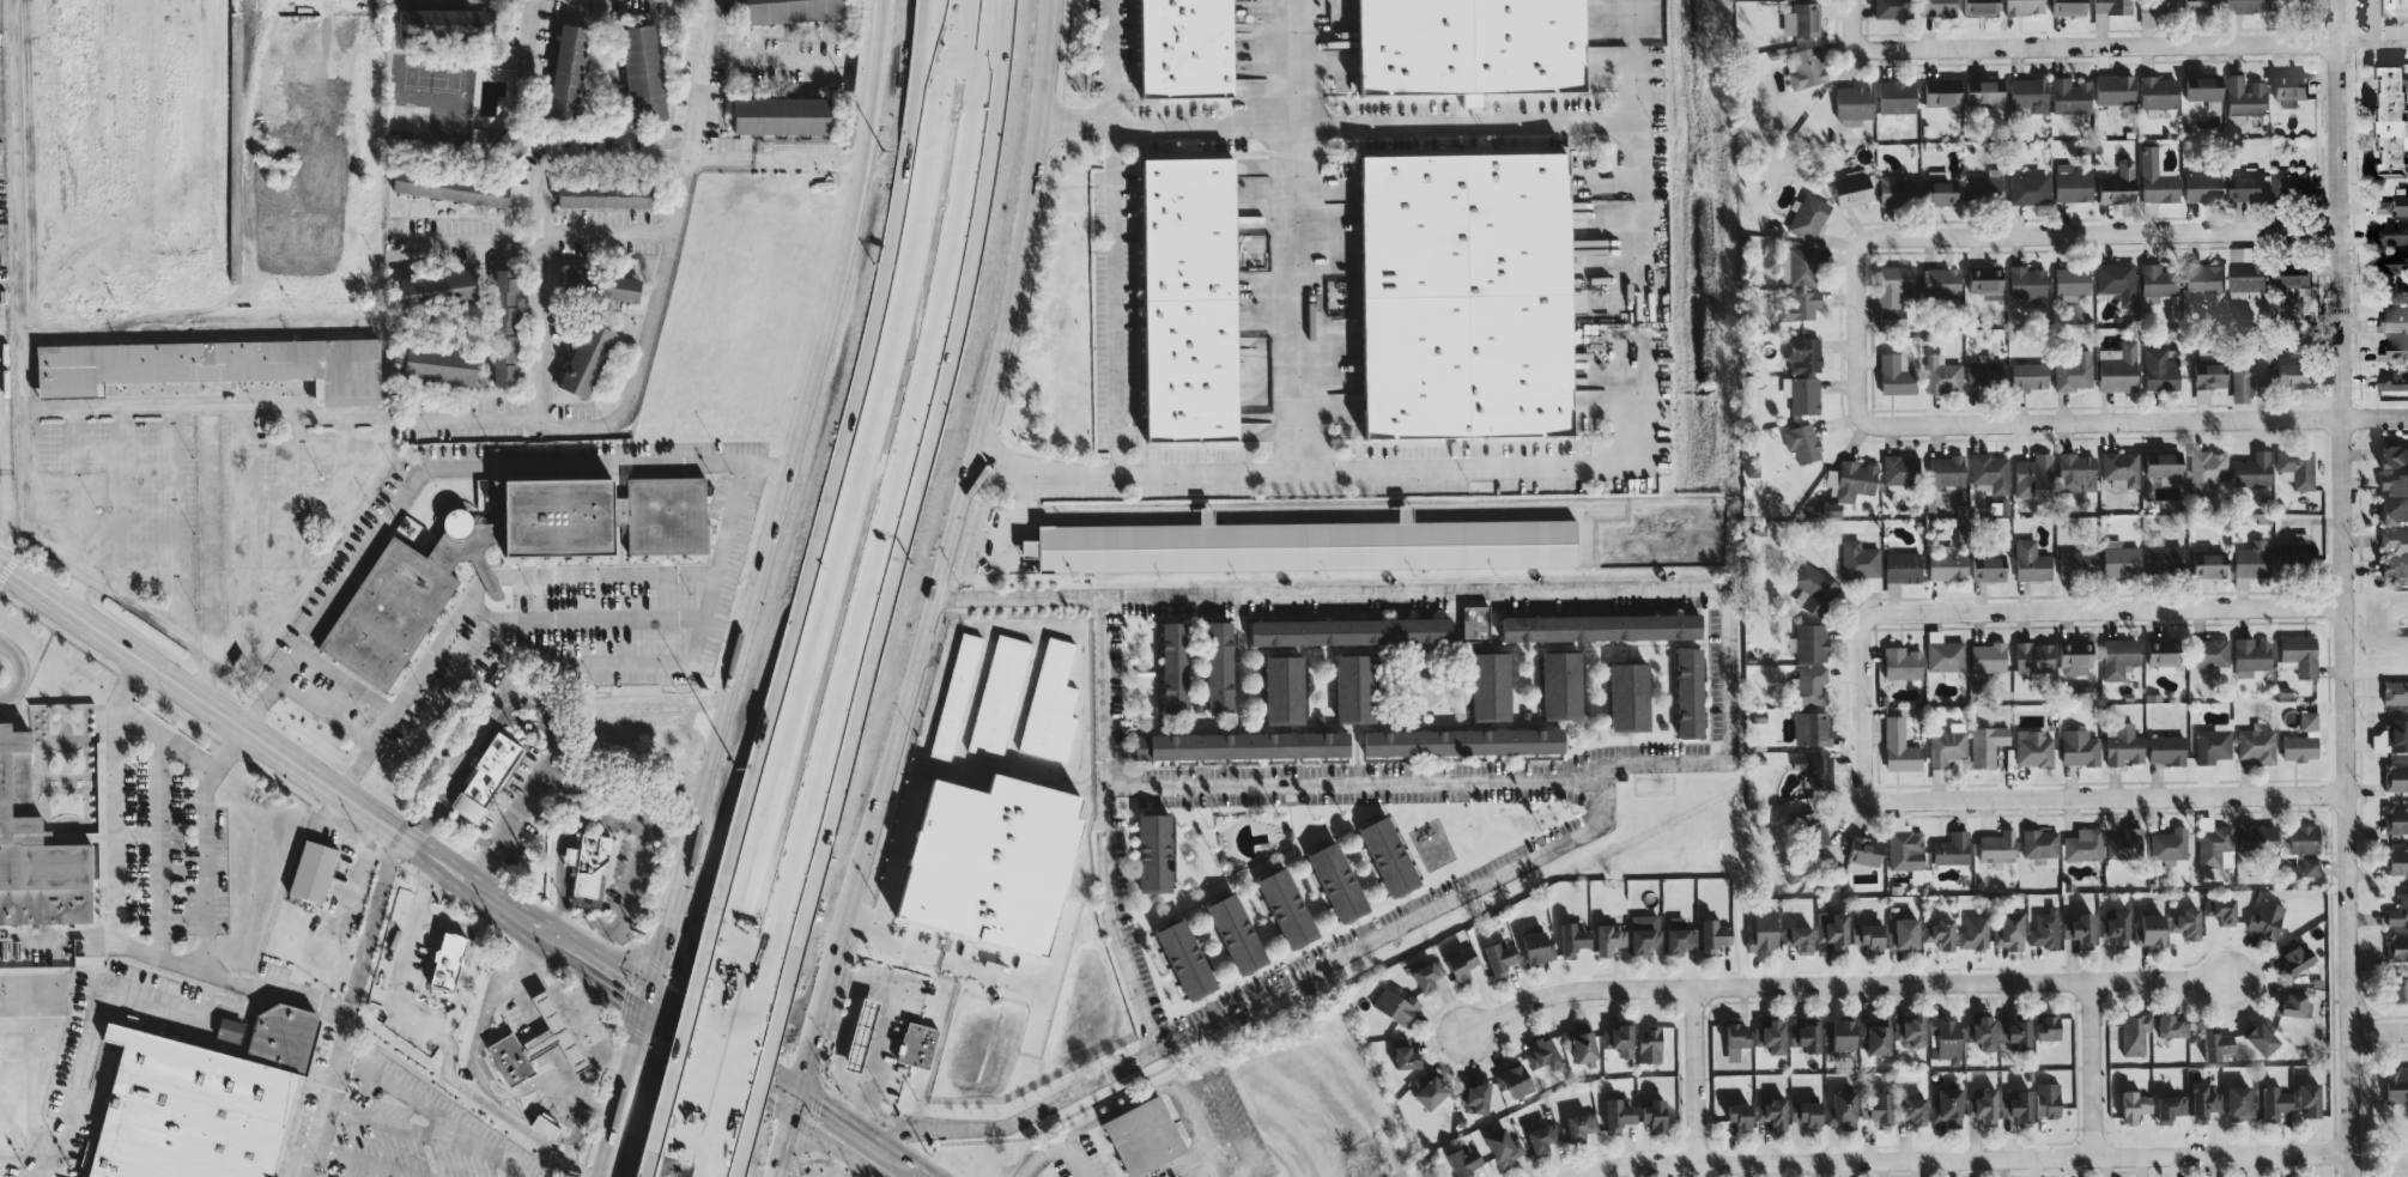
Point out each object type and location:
building: (2200, 4)
building: (2025, 6)
building: (2072, 6)
building: (1939, 7)
building: (1982, 7)
building: (1893, 8)
building: (795, 10)
building: (2110, 10)
building: (2157, 11)
building: (1802, 19)
building: (2403, 19)
building: (447, 22)
road: (2367, 24)
road: (534, 28)
building: (1184, 47)
building: (1469, 47)
road: (2371, 47)
road: (2070, 49)
road: (776, 59)
road: (1111, 60)
building: (1806, 67)
building: (568, 69)
building: (643, 72)
building: (2292, 87)
building: (2206, 89)
building: (1943, 91)
building: (1985, 91)
building: (2115, 91)
building: (2159, 91)
building: (2031, 93)
building: (2072, 95)
building: (1898, 96)
building: (2244, 97)
building: (1854, 104)
building: (783, 115)
building: (2395, 119)
road: (1224, 122)
road: (1462, 122)
road: (1636, 139)
building: (514, 140)
road: (578, 158)
building: (2157, 178)
building: (2291, 182)
building: (2072, 183)
building: (2119, 183)
building: (451, 186)
building: (2203, 186)
building: (1854, 187)
building: (1985, 187)
building: (2030, 187)
building: (2249, 187)
road: (187, 188)
building: (1941, 188)
building: (1898, 190)
building: (605, 193)
road: (951, 201)
building: (2394, 205)
building: (1808, 216)
road: (2054, 232)
building: (2392, 233)
road: (530, 235)
building: (1800, 265)
road: (16, 267)
building: (2246, 272)
building: (2295, 274)
building: (2206, 278)
building: (2398, 278)
building: (2160, 279)
building: (1988, 280)
building: (2073, 280)
building: (2117, 280)
building: (1942, 281)
building: (2028, 281)
building: (601, 284)
building: (1896, 284)
building: (438, 287)
building: (1467, 296)
building: (1188, 303)
building: (1801, 305)
road: (650, 314)
building: (1893, 316)
building: (2394, 320)
building: (505, 326)
building: (2392, 348)
building: (1803, 353)
building: (587, 358)
building: (441, 364)
building: (214, 365)
building: (2121, 368)
building: (2160, 369)
road: (1117, 370)
building: (1985, 371)
building: (2074, 371)
building: (1897, 374)
building: (1942, 374)
building: (2031, 375)
building: (2299, 375)
building: (2250, 376)
building: (2209, 377)
building: (2392, 380)
building: (1803, 394)
road: (206, 399)
road: (2086, 424)
road: (382, 441)
building: (1803, 442)
road: (4, 447)
road: (791, 454)
building: (2395, 455)
road: (705, 462)
building: (2165, 465)
building: (2122, 468)
road: (1290, 469)
building: (1899, 469)
building: (1947, 469)
building: (2255, 469)
building: (1990, 471)
building: (2208, 471)
road: (1205, 472)
building: (2034, 477)
building: (1852, 479)
building: (2396, 483)
road: (850, 498)
road: (5, 509)
building: (2395, 512)
road: (172, 514)
road: (958, 516)
road: (392, 521)
building: (667, 521)
road: (247, 533)
building: (2395, 540)
building: (1308, 545)
building: (2166, 558)
building: (1860, 559)
building: (2122, 559)
building: (2032, 560)
building: (2079, 562)
building: (2251, 563)
building: (1948, 564)
building: (2212, 564)
building: (1990, 568)
building: (1903, 570)
building: (2396, 570)
road: (313, 571)
road: (77, 587)
road: (2341, 588)
building: (1815, 589)
building: (410, 591)
road: (1725, 594)
road: (486, 597)
road: (139, 603)
road: (2058, 611)
building: (1476, 623)
building: (1602, 627)
building: (1352, 631)
road: (732, 633)
building: (1810, 642)
building: (2212, 651)
building: (2165, 653)
building: (1945, 654)
building: (2300, 655)
building: (2036, 656)
building: (2076, 656)
building: (2119, 656)
building: (2252, 656)
building: (1989, 657)
building: (1903, 662)
road: (19, 666)
building: (1221, 666)
building: (1176, 667)
road: (683, 671)
road: (205, 675)
building: (1813, 684)
building: (1564, 685)
building: (1492, 686)
building: (1357, 687)
building: (1692, 692)
building: (2396, 692)
building: (956, 694)
building: (999, 696)
building: (1631, 697)
building: (1051, 703)
road: (838, 709)
road: (219, 712)
building: (2310, 721)
building: (1813, 728)
building: (2397, 734)
road: (479, 735)
road: (163, 739)
building: (1466, 741)
building: (1989, 742)
building: (1244, 745)
building: (2125, 745)
building: (2258, 745)
building: (1901, 746)
building: (1948, 747)
building: (2034, 747)
building: (2080, 747)
building: (2301, 747)
building: (2169, 750)
building: (1802, 762)
building: (1822, 772)
building: (487, 776)
building: (2396, 778)
road: (526, 797)
road: (2058, 797)
building: (2396, 819)
road: (580, 820)
road: (1111, 825)
building: (1814, 830)
building: (2258, 837)
building: (2306, 838)
building: (2213, 842)
building: (2040, 843)
building: (2085, 844)
building: (2169, 844)
building: (2125, 845)
building: (1998, 847)
building: (1953, 848)
building: (35, 850)
building: (1867, 850)
building: (1907, 851)
building: (1156, 853)
building: (1390, 856)
building: (2400, 860)
building: (994, 862)
building: (588, 864)
building: (2311, 866)
building: (1793, 867)
building: (313, 872)
building: (1340, 881)
road: (424, 885)
road: (626, 888)
building: (1288, 908)
building: (2222, 909)
building: (2400, 911)
road: (484, 918)
road: (547, 918)
building: (2267, 918)
road: (371, 923)
road: (449, 923)
road: (507, 923)
building: (2188, 923)
building: (2045, 928)
building: (2117, 928)
building: (1834, 929)
building: (2082, 929)
building: (2012, 930)
building: (2152, 930)
building: (1645, 932)
building: (1765, 932)
building: (1975, 932)
building: (1941, 933)
building: (1238, 934)
building: (1905, 934)
road: (924, 935)
building: (1680, 935)
building: (1716, 935)
building: (1870, 935)
building: (1575, 939)
building: (1609, 939)
building: (1800, 939)
road: (662, 944)
building: (1537, 946)
building: (2397, 947)
road: (137, 948)
building: (1502, 958)
building: (2297, 958)
building: (1187, 959)
building: (448, 961)
traffic signals: (659, 961)
building: (1463, 964)
building: (1429, 975)
road: (230, 978)
road: (398, 981)
road: (546, 984)
road: (1842, 984)
road: (1276, 989)
road: (132, 991)
building: (2401, 991)
road: (613, 996)
traffic signals: (674, 999)
road: (647, 1000)
traffic signals: (621, 1002)
building: (2297, 1005)
building: (1396, 1006)
road: (859, 1007)
road: (728, 1014)
building: (2172, 1026)
building: (2051, 1027)
building: (230, 1029)
building: (1828, 1029)
road: (2378, 1029)
building: (1911, 1031)
building: (2019, 1032)
building: (556, 1033)
gas station: (556, 1033)
building: (1987, 1033)
building: (2135, 1033)
road: (727, 1035)
building: (1808, 1035)
building: (1845, 1035)
road: (592, 1036)
building: (862, 1036)
gas station: (862, 1036)
building: (1880, 1036)
building: (1773, 1037)
building: (2264, 1037)
building: (1620, 1039)
building: (1947, 1039)
building: (1737, 1041)
building: (1582, 1042)
building: (917, 1044)
building: (1650, 1045)
building: (2219, 1045)
road: (633, 1051)
building: (1545, 1054)
road: (812, 1055)
building: (509, 1057)
building: (1407, 1057)
road: (693, 1063)
road: (717, 1068)
road: (2091, 1068)
road: (1694, 1076)
road: (844, 1079)
building: (1515, 1079)
road: (457, 1084)
building: (2397, 1085)
road: (739, 1088)
road: (588, 1090)
building: (1432, 1093)
building: (1476, 1093)
road: (721, 1094)
road: (328, 1096)
road: (412, 1096)
traffic signals: (821, 1098)
building: (2049, 1099)
building: (2311, 1100)
building: (202, 1102)
building: (2206, 1102)
building: (2276, 1102)
road: (797, 1103)
building: (2242, 1103)
building: (1987, 1104)
traffic signals: (772, 1105)
building: (1948, 1106)
building: (2135, 1106)
building: (2020, 1108)
building: (2172, 1108)
road: (1117, 1109)
building: (1843, 1111)
building: (1918, 1111)
road: (1225, 1114)
building: (1620, 1114)
building: (1773, 1114)
building: (1808, 1114)
building: (1656, 1115)
building: (1741, 1115)
road: (389, 1124)
building: (1582, 1126)
building: (546, 1127)
parking lot: (420, 1130)
road: (613, 1132)
road: (869, 1132)
building: (1146, 1136)
building: (1543, 1137)
traffic signals: (788, 1141)
road: (1056, 1143)
building: (1504, 1147)
road: (786, 1148)
road: (838, 1148)
road: (493, 1151)
road: (668, 1159)
road: (1963, 1159)
road: (369, 1160)
building: (1464, 1161)
road: (716, 1169)
building: (1157, 1171)

